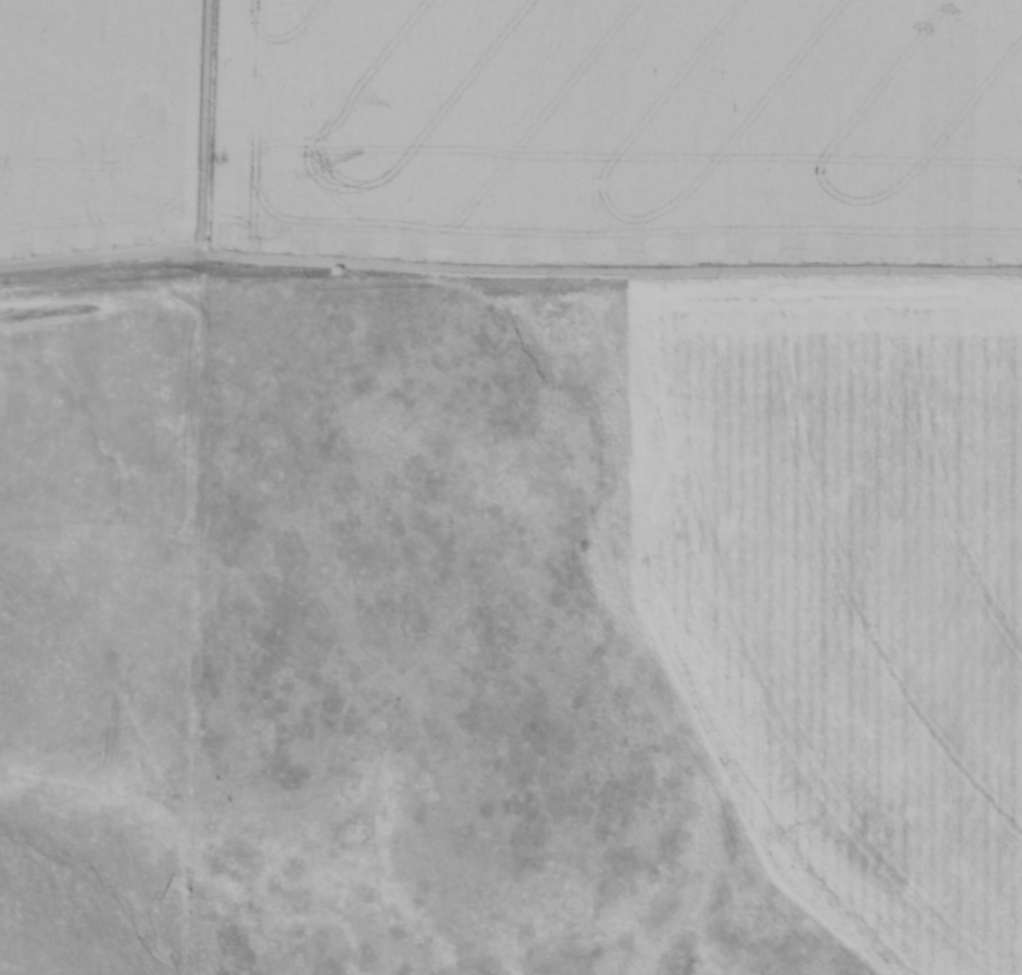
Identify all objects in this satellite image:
power tower: (165, 892)

